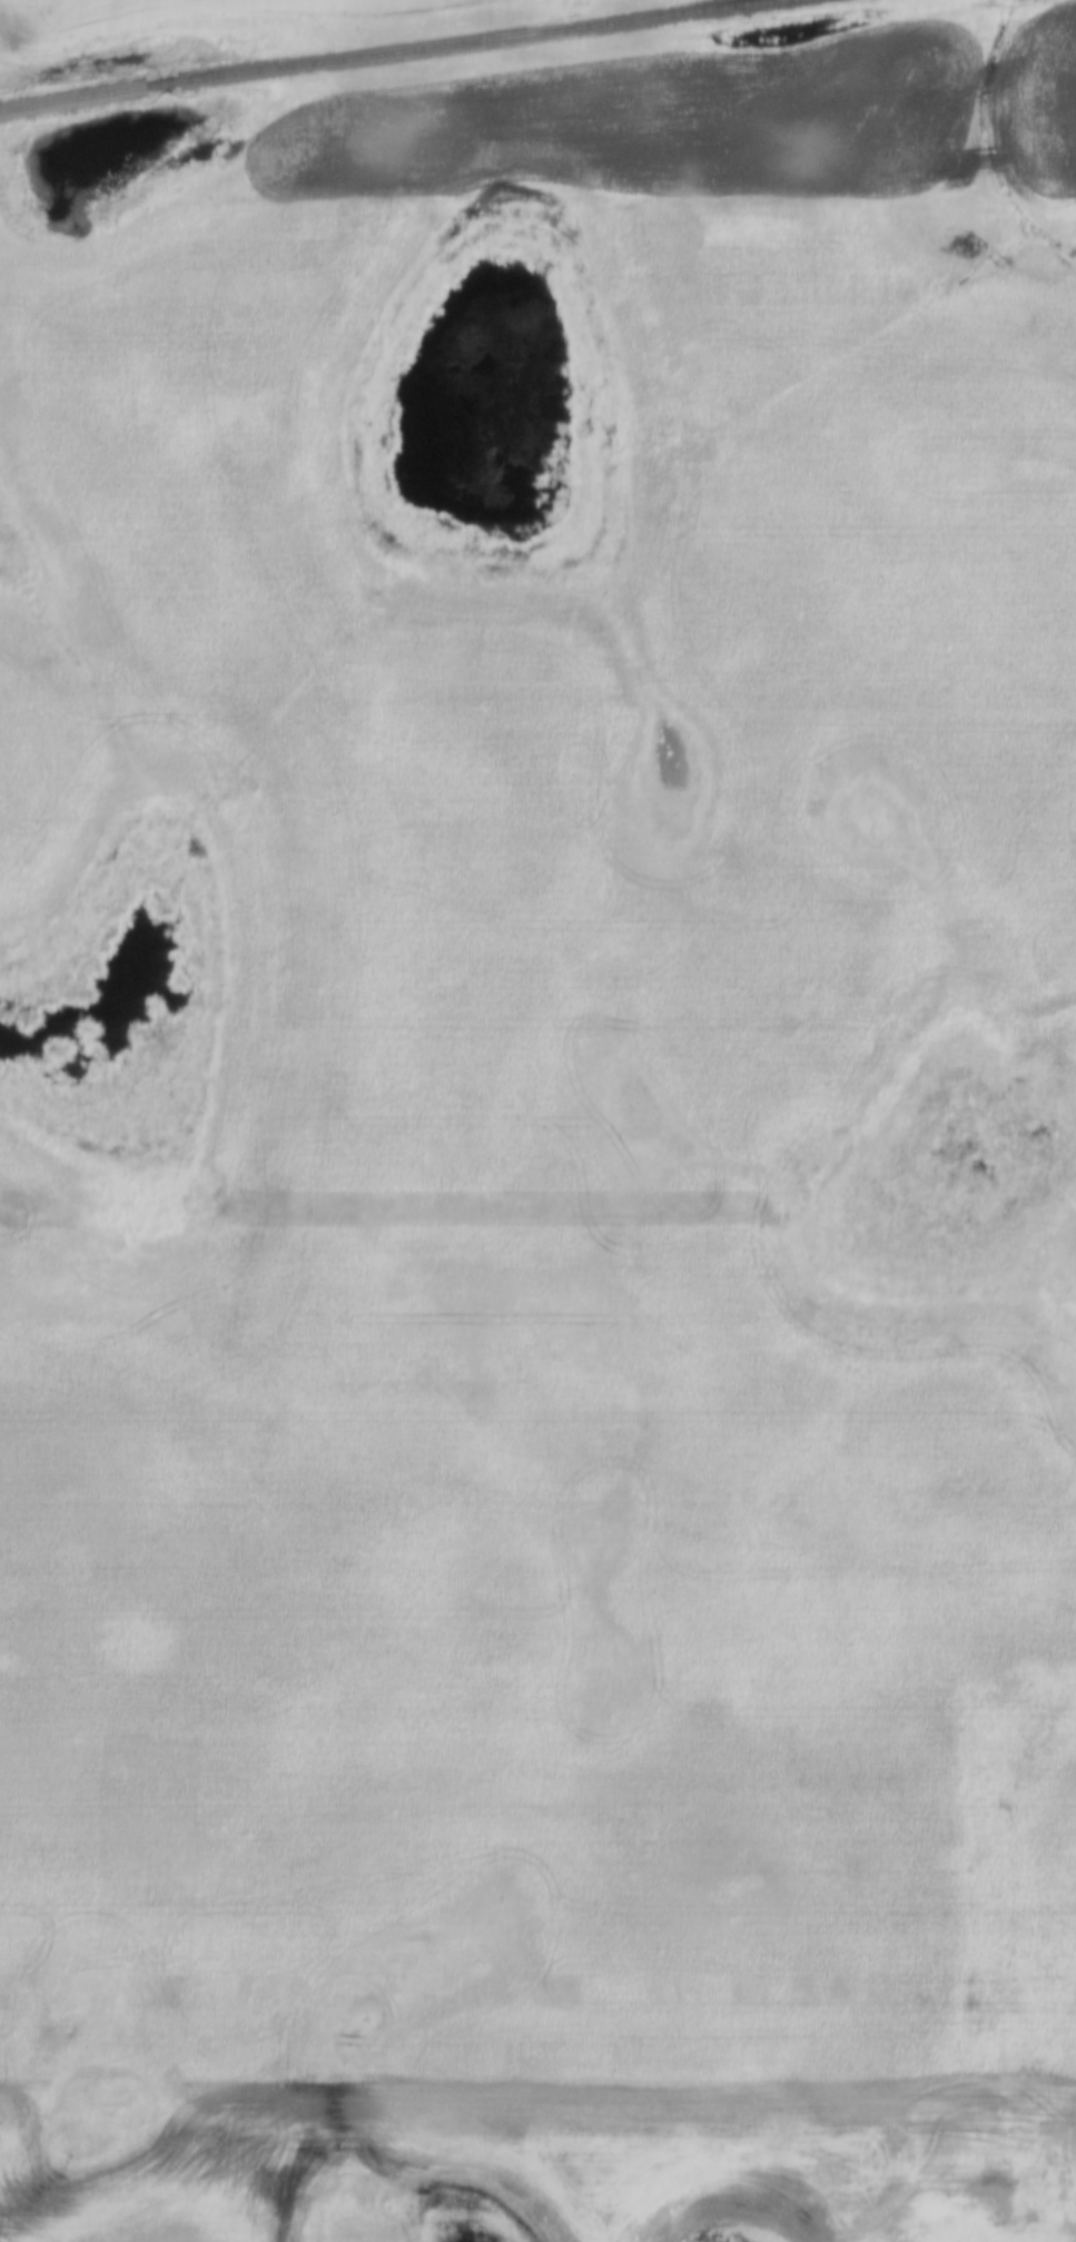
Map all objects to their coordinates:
railway: (483, 40)
railway: (165, 83)
railway: (72, 99)

